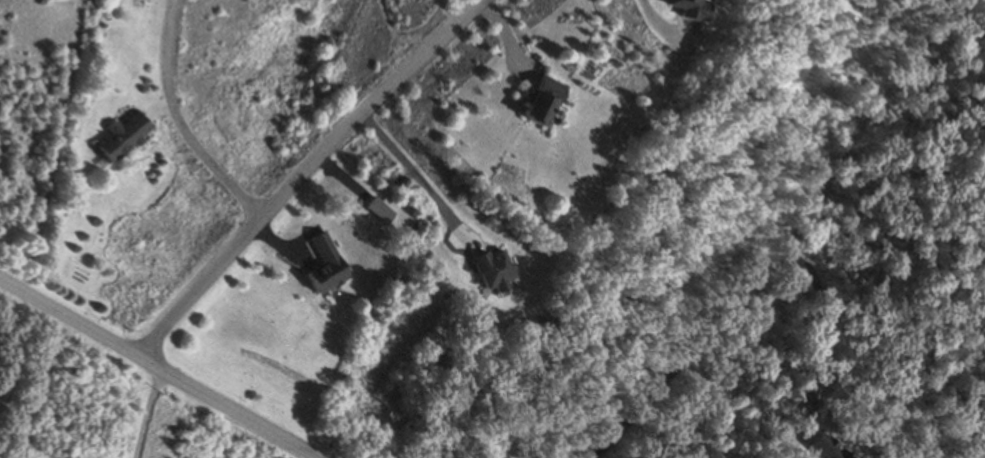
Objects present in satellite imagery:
building: (690, 8)
road: (659, 28)
building: (544, 99)
road: (179, 122)
building: (123, 136)
road: (301, 169)
road: (419, 178)
building: (403, 183)
building: (380, 208)
building: (328, 263)
building: (496, 270)
road: (707, 315)
road: (158, 368)
road: (149, 414)

